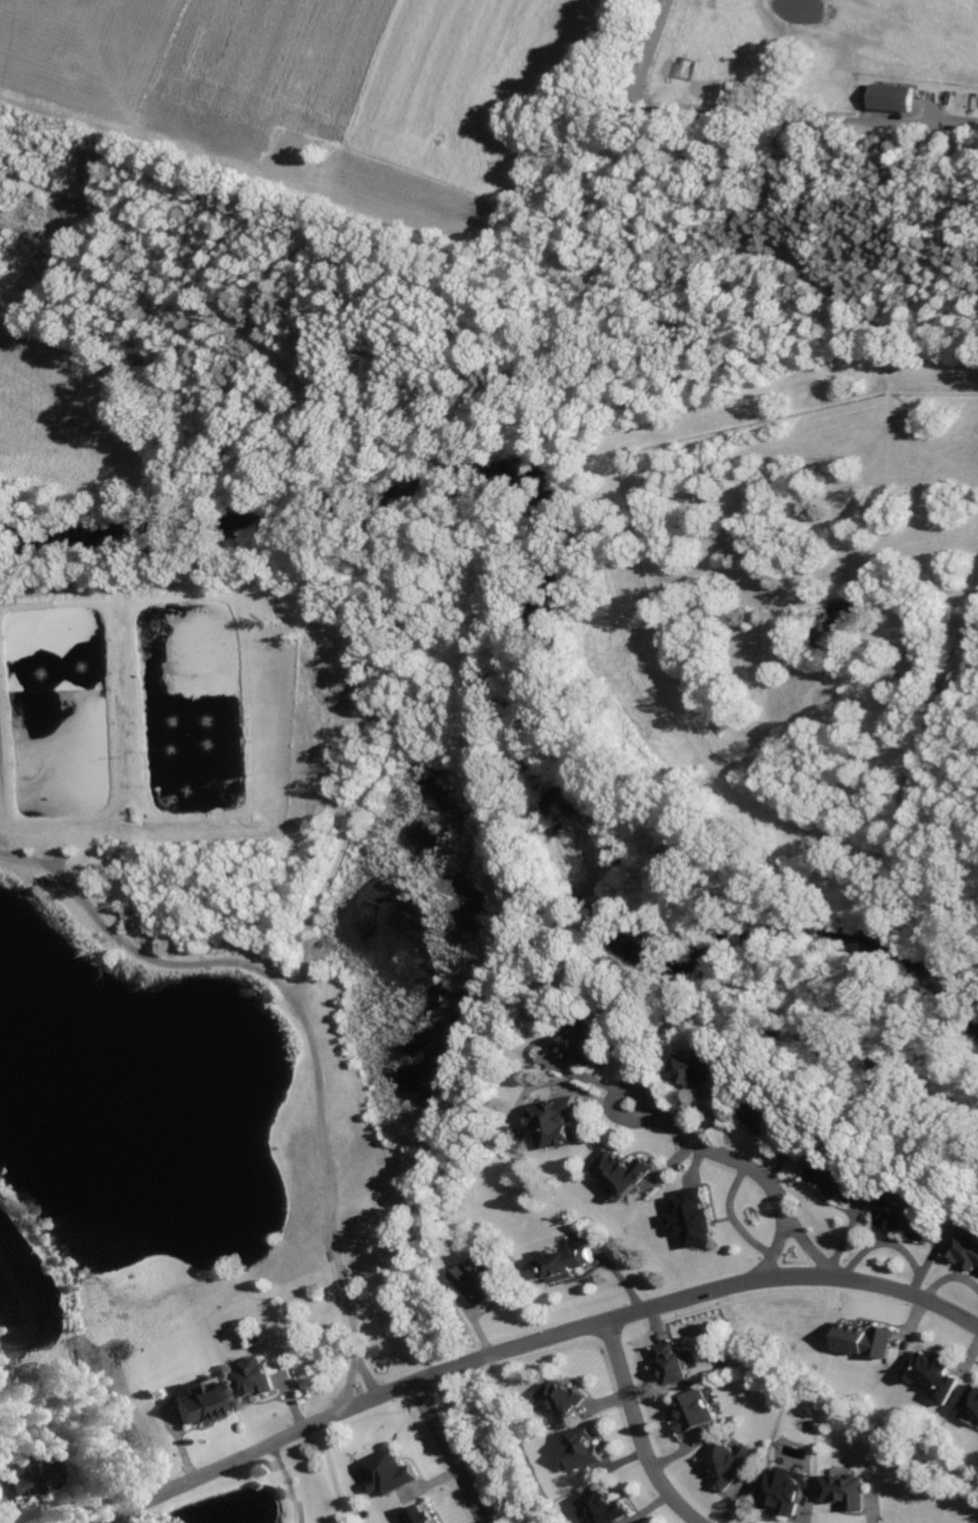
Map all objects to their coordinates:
building: (892, 96)
road: (755, 113)
river: (528, 653)
road: (308, 1033)
building: (583, 1047)
building: (697, 1070)
building: (768, 1118)
building: (551, 1122)
road: (747, 1167)
building: (620, 1172)
building: (832, 1173)
building: (691, 1217)
building: (902, 1218)
building: (964, 1246)
building: (558, 1263)
building: (481, 1275)
building: (863, 1338)
road: (534, 1344)
road: (353, 1360)
building: (670, 1363)
building: (932, 1374)
building: (253, 1377)
building: (559, 1396)
building: (194, 1401)
building: (971, 1403)
building: (692, 1410)
road: (636, 1430)
building: (584, 1444)
road: (453, 1454)
building: (725, 1462)
building: (388, 1472)
building: (29, 1475)
road: (289, 1482)
building: (843, 1489)
building: (780, 1491)
park: (282, 1501)
building: (604, 1505)
building: (420, 1515)

